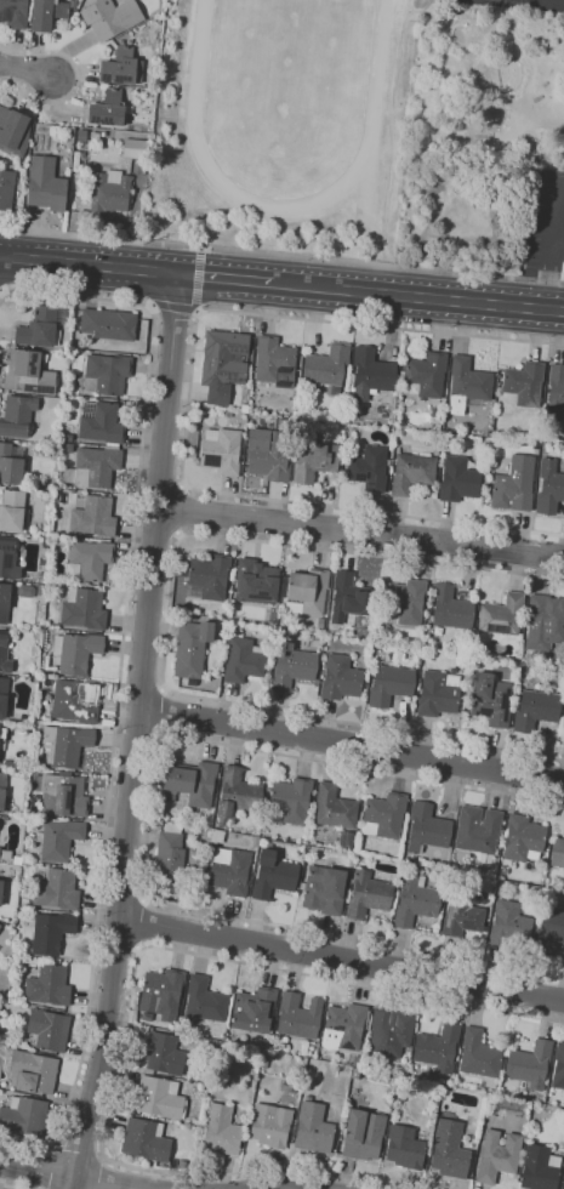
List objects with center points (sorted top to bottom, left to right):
park: (515, 0)
building: (13, 13)
building: (49, 13)
building: (110, 17)
building: (121, 67)
road: (27, 68)
road: (76, 80)
building: (109, 109)
track: (372, 112)
building: (13, 131)
building: (70, 136)
building: (135, 148)
building: (45, 184)
building: (6, 189)
building: (109, 192)
road: (557, 214)
parking lot: (543, 221)
road: (281, 255)
road: (87, 264)
road: (547, 273)
road: (217, 277)
road: (199, 280)
road: (1, 291)
road: (412, 296)
road: (176, 309)
building: (108, 324)
building: (38, 329)
building: (275, 362)
building: (223, 364)
building: (326, 366)
building: (27, 372)
building: (106, 374)
building: (371, 374)
building: (426, 374)
building: (523, 385)
building: (467, 386)
building: (556, 392)
road: (188, 406)
building: (244, 408)
building: (17, 416)
building: (101, 423)
building: (433, 428)
building: (68, 446)
building: (221, 451)
building: (268, 453)
building: (314, 460)
building: (10, 463)
building: (93, 467)
building: (369, 468)
building: (411, 473)
building: (458, 479)
building: (513, 485)
building: (549, 488)
road: (182, 510)
building: (12, 511)
building: (93, 517)
road: (360, 534)
building: (8, 559)
building: (87, 559)
building: (207, 578)
building: (256, 581)
building: (306, 592)
building: (349, 598)
building: (405, 601)
building: (4, 602)
building: (450, 608)
building: (82, 609)
building: (501, 614)
road: (167, 620)
building: (543, 622)
building: (320, 624)
building: (192, 648)
building: (75, 652)
building: (4, 655)
building: (243, 660)
building: (291, 666)
road: (120, 677)
building: (340, 678)
building: (389, 684)
building: (438, 693)
building: (2, 696)
building: (489, 700)
building: (73, 701)
building: (535, 710)
road: (164, 712)
building: (563, 719)
road: (135, 732)
road: (351, 741)
building: (64, 745)
building: (192, 786)
building: (1, 789)
building: (62, 795)
building: (235, 795)
building: (291, 800)
building: (334, 808)
building: (30, 812)
building: (360, 815)
building: (382, 815)
road: (148, 827)
building: (426, 829)
building: (478, 831)
building: (216, 836)
building: (346, 838)
building: (523, 838)
building: (58, 840)
building: (255, 842)
building: (557, 853)
building: (5, 854)
building: (169, 857)
building: (16, 860)
building: (229, 870)
building: (272, 875)
building: (1, 889)
building: (57, 891)
building: (324, 891)
building: (366, 895)
building: (414, 900)
building: (439, 910)
building: (461, 915)
road: (144, 923)
building: (508, 923)
building: (0, 927)
building: (484, 929)
building: (51, 933)
building: (549, 933)
road: (342, 960)
building: (49, 985)
building: (161, 992)
road: (131, 996)
building: (204, 1000)
building: (253, 1009)
building: (297, 1016)
building: (343, 1028)
building: (47, 1030)
building: (389, 1032)
building: (437, 1048)
building: (163, 1054)
building: (479, 1058)
building: (355, 1060)
building: (530, 1064)
building: (558, 1066)
building: (33, 1071)
building: (289, 1086)
building: (443, 1088)
building: (159, 1097)
building: (24, 1116)
building: (194, 1121)
building: (269, 1125)
building: (312, 1128)
building: (221, 1130)
building: (363, 1134)
building: (144, 1140)
building: (404, 1148)
road: (79, 1150)
building: (449, 1150)
building: (496, 1156)
building: (182, 1164)
road: (50, 1167)
building: (539, 1168)
road: (99, 1172)
road: (72, 1177)
road: (10, 1187)

